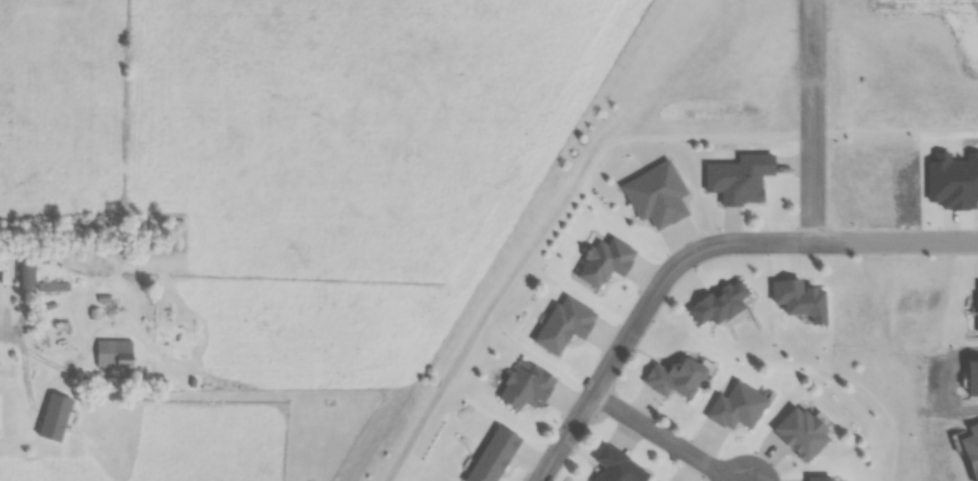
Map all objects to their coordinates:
road: (811, 121)
road: (598, 154)
building: (739, 177)
crop: (301, 185)
building: (656, 194)
road: (698, 252)
building: (604, 261)
building: (25, 273)
building: (19, 279)
building: (53, 286)
building: (799, 298)
building: (718, 302)
building: (564, 324)
road: (696, 338)
road: (33, 356)
building: (107, 357)
building: (674, 377)
road: (858, 383)
building: (525, 385)
building: (737, 406)
building: (47, 421)
building: (800, 432)
road: (664, 437)
building: (492, 455)
building: (614, 465)
crop: (44, 470)
building: (818, 478)

